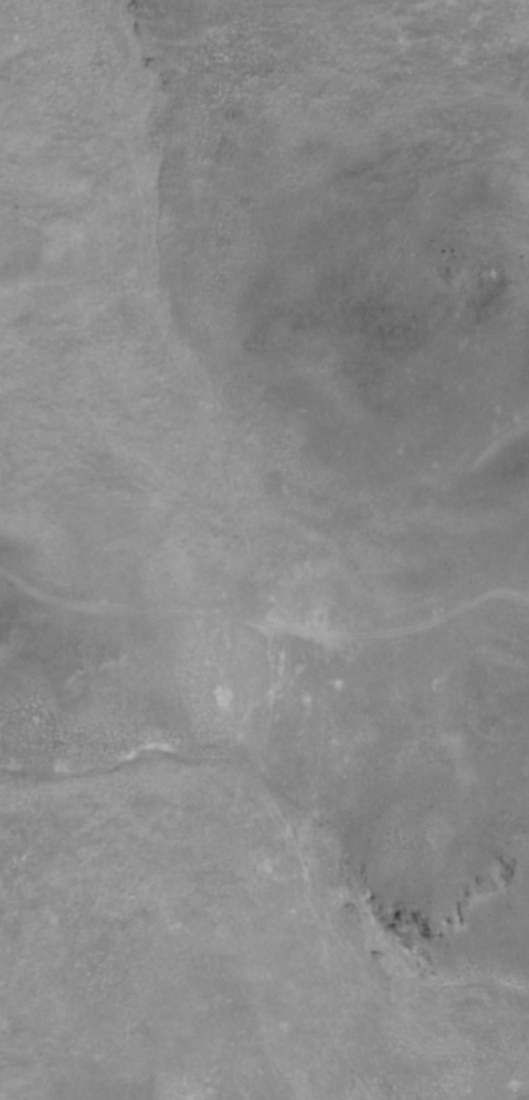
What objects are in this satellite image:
road: (263, 622)

